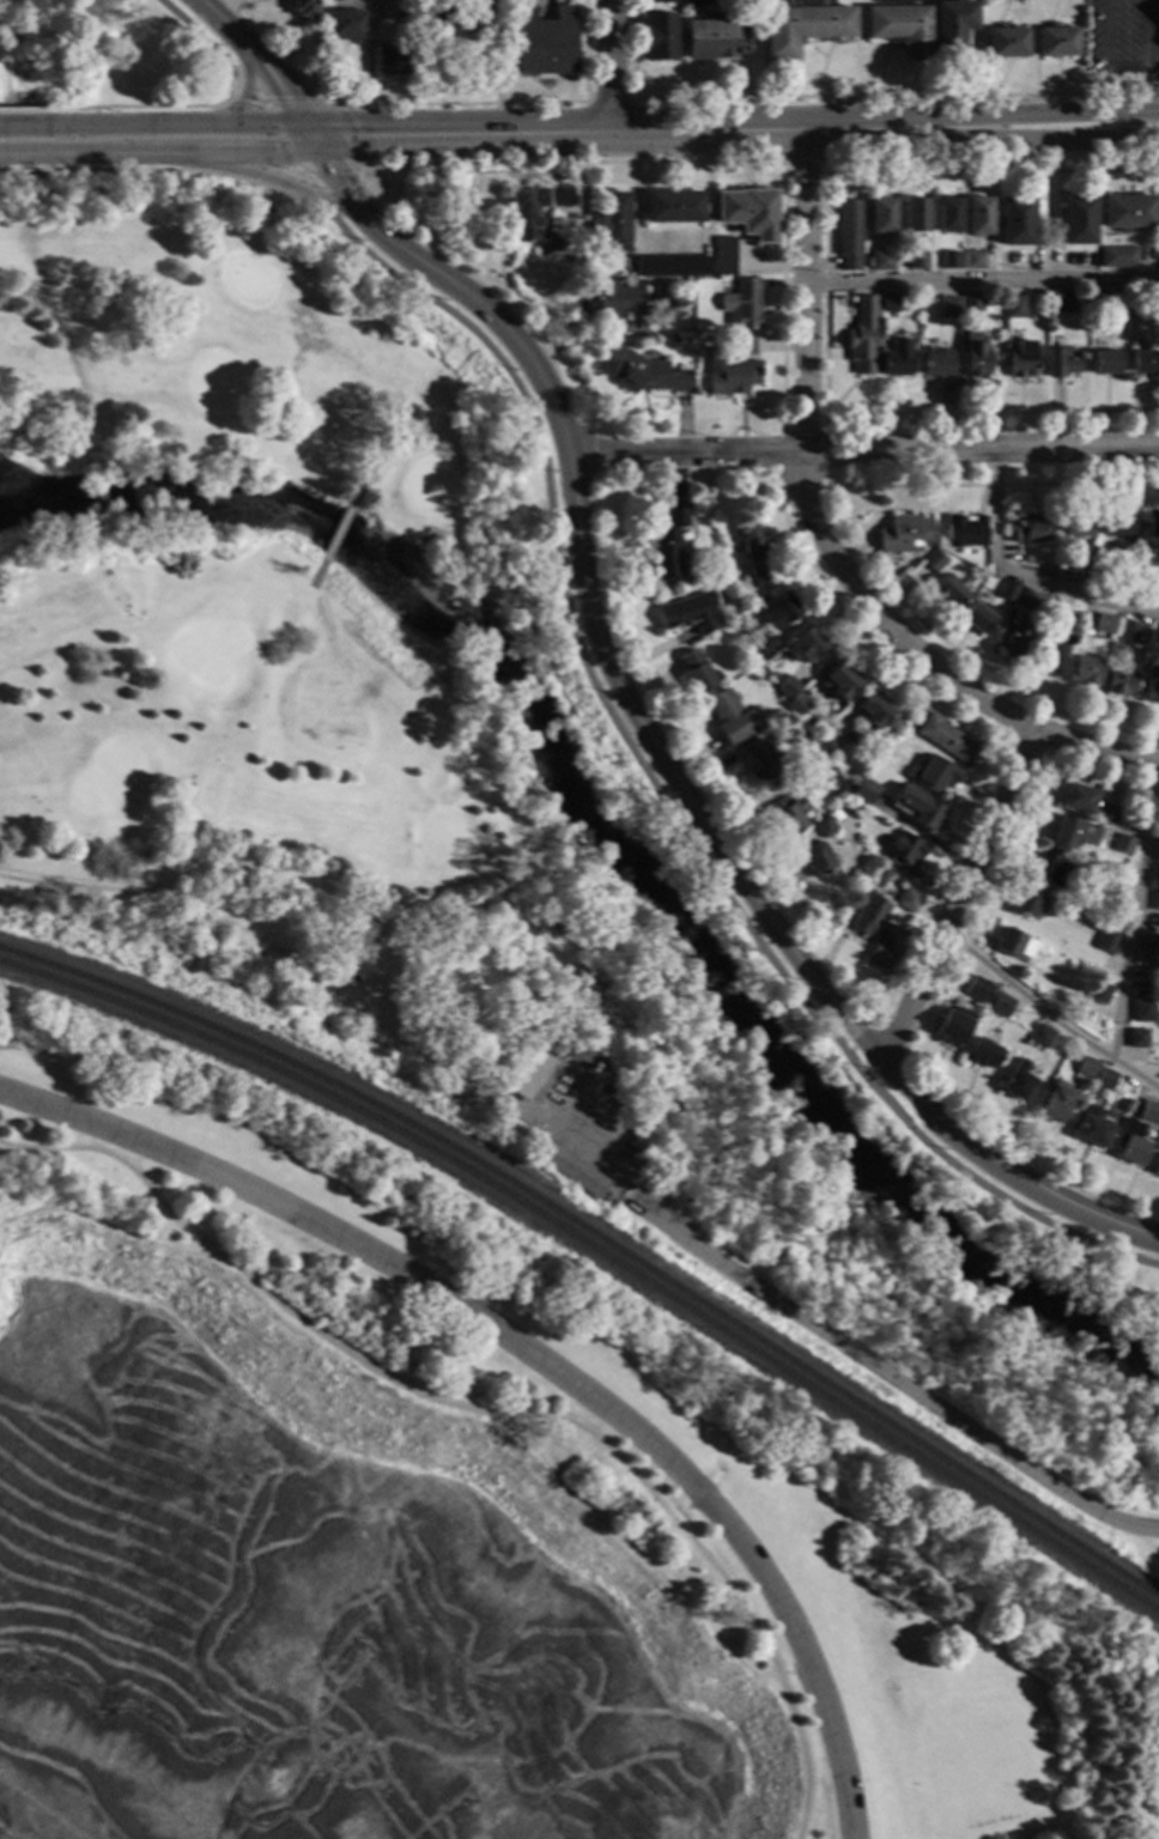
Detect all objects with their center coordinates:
building: (898, 1)
building: (656, 2)
building: (700, 2)
parking lot: (188, 7)
building: (303, 11)
road: (216, 17)
building: (471, 17)
building: (802, 26)
building: (341, 28)
building: (949, 29)
building: (898, 30)
building: (656, 38)
building: (712, 40)
building: (541, 43)
building: (1003, 44)
building: (1054, 44)
road: (213, 50)
park: (108, 56)
road: (1145, 56)
road: (1106, 57)
building: (393, 61)
road: (608, 67)
road: (249, 81)
road: (279, 90)
road: (6, 91)
traffic signals: (284, 96)
road: (892, 97)
road: (607, 102)
road: (825, 102)
road: (243, 104)
road: (459, 104)
road: (111, 107)
road: (1044, 115)
road: (174, 125)
road: (825, 131)
road: (344, 134)
road: (280, 135)
road: (639, 135)
traffic signals: (360, 138)
road: (1044, 141)
road: (332, 144)
traffic signals: (318, 150)
road: (304, 151)
road: (110, 153)
road: (255, 153)
traffic signals: (278, 153)
road: (571, 163)
road: (826, 165)
road: (783, 166)
road: (158, 171)
road: (988, 171)
road: (787, 174)
road: (805, 174)
traffic signals: (333, 176)
road: (302, 177)
road: (340, 188)
road: (292, 189)
road: (309, 196)
building: (673, 206)
building: (1129, 211)
building: (527, 212)
building: (751, 212)
building: (949, 213)
building: (882, 216)
building: (916, 216)
building: (981, 216)
building: (1017, 220)
building: (1079, 220)
building: (613, 221)
building: (587, 230)
building: (850, 233)
building: (726, 256)
building: (1119, 256)
building: (918, 259)
building: (975, 259)
building: (952, 260)
building: (885, 261)
building: (673, 265)
road: (982, 281)
road: (805, 292)
building: (617, 298)
building: (1121, 301)
building: (973, 302)
building: (1062, 302)
building: (1157, 302)
building: (891, 303)
building: (744, 304)
building: (1015, 305)
building: (951, 308)
building: (863, 336)
building: (684, 338)
building: (978, 359)
building: (1023, 359)
building: (1146, 360)
building: (1062, 362)
building: (1106, 362)
building: (896, 363)
building: (939, 363)
building: (734, 369)
building: (648, 374)
road: (867, 453)
road: (358, 488)
building: (1118, 523)
building: (1076, 524)
building: (1030, 528)
building: (1151, 529)
road: (339, 530)
building: (966, 530)
building: (906, 534)
building: (669, 546)
building: (756, 556)
building: (935, 560)
building: (1087, 570)
road: (317, 575)
road: (1020, 576)
building: (1128, 581)
building: (1157, 584)
building: (1011, 590)
building: (952, 591)
building: (1028, 599)
building: (781, 609)
building: (1056, 609)
building: (687, 611)
building: (978, 618)
building: (1105, 623)
building: (1137, 633)
building: (1015, 638)
building: (766, 644)
building: (805, 645)
road: (929, 662)
building: (1051, 663)
building: (697, 672)
building: (1086, 672)
building: (1121, 680)
building: (843, 681)
building: (787, 686)
building: (1153, 686)
building: (797, 704)
road: (574, 710)
building: (876, 711)
building: (730, 716)
building: (947, 738)
building: (825, 744)
building: (759, 760)
park: (593, 771)
building: (819, 775)
building: (936, 775)
road: (681, 787)
building: (866, 790)
road: (655, 791)
park: (400, 797)
building: (1088, 803)
building: (921, 807)
building: (790, 814)
building: (836, 815)
building: (824, 826)
building: (1074, 832)
building: (1124, 844)
river: (615, 845)
building: (906, 852)
building: (818, 860)
building: (1050, 870)
building: (882, 875)
road: (95, 884)
building: (1117, 891)
road: (958, 894)
building: (908, 899)
building: (1155, 900)
building: (1026, 904)
building: (374, 915)
building: (870, 916)
road: (1136, 922)
building: (1015, 942)
building: (1106, 942)
building: (1151, 945)
building: (887, 946)
building: (979, 990)
building: (1100, 991)
building: (1000, 1002)
road: (357, 1003)
building: (1145, 1010)
road: (1048, 1015)
road: (855, 1026)
building: (952, 1027)
road: (842, 1036)
building: (1042, 1036)
building: (1139, 1038)
building: (983, 1052)
building: (534, 1068)
building: (1087, 1068)
building: (1018, 1080)
building: (1106, 1080)
building: (451, 1092)
building: (1056, 1103)
building: (1149, 1111)
building: (1093, 1128)
building: (1133, 1142)
building: (1157, 1167)
building: (572, 1171)
railway: (599, 1238)
railway: (599, 1251)
road: (827, 1341)
road: (533, 1358)
road: (491, 1413)
park: (423, 1419)
park: (741, 1498)

